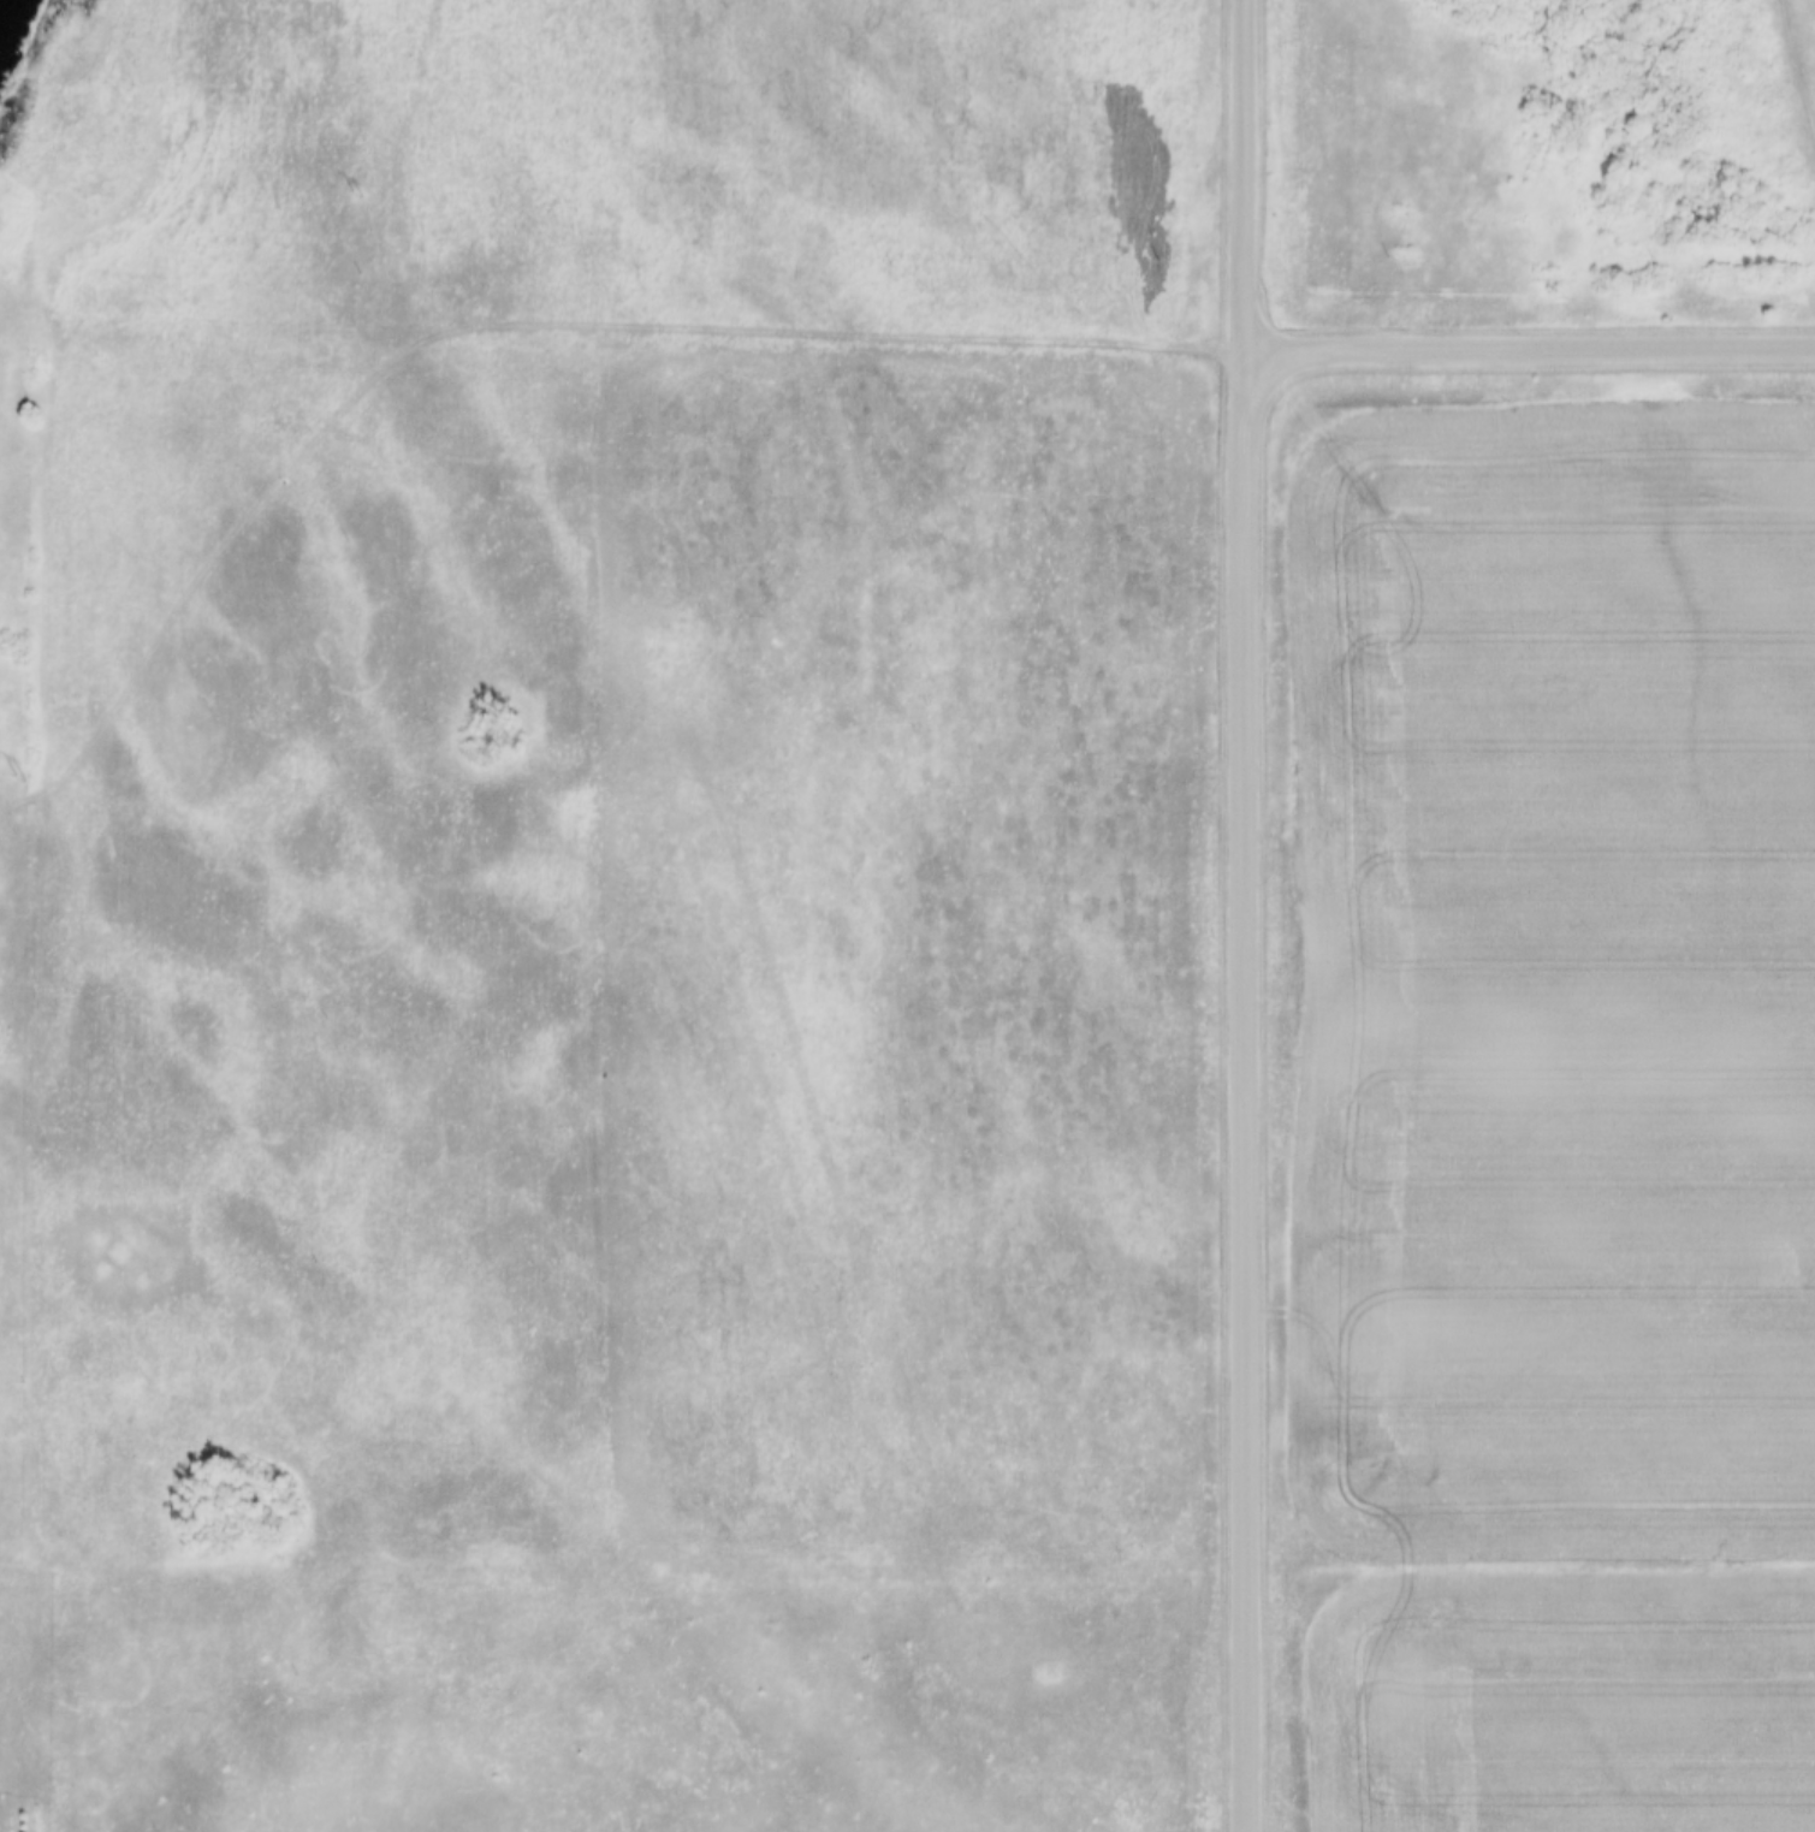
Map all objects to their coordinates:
road: (1528, 351)
road: (1242, 915)

